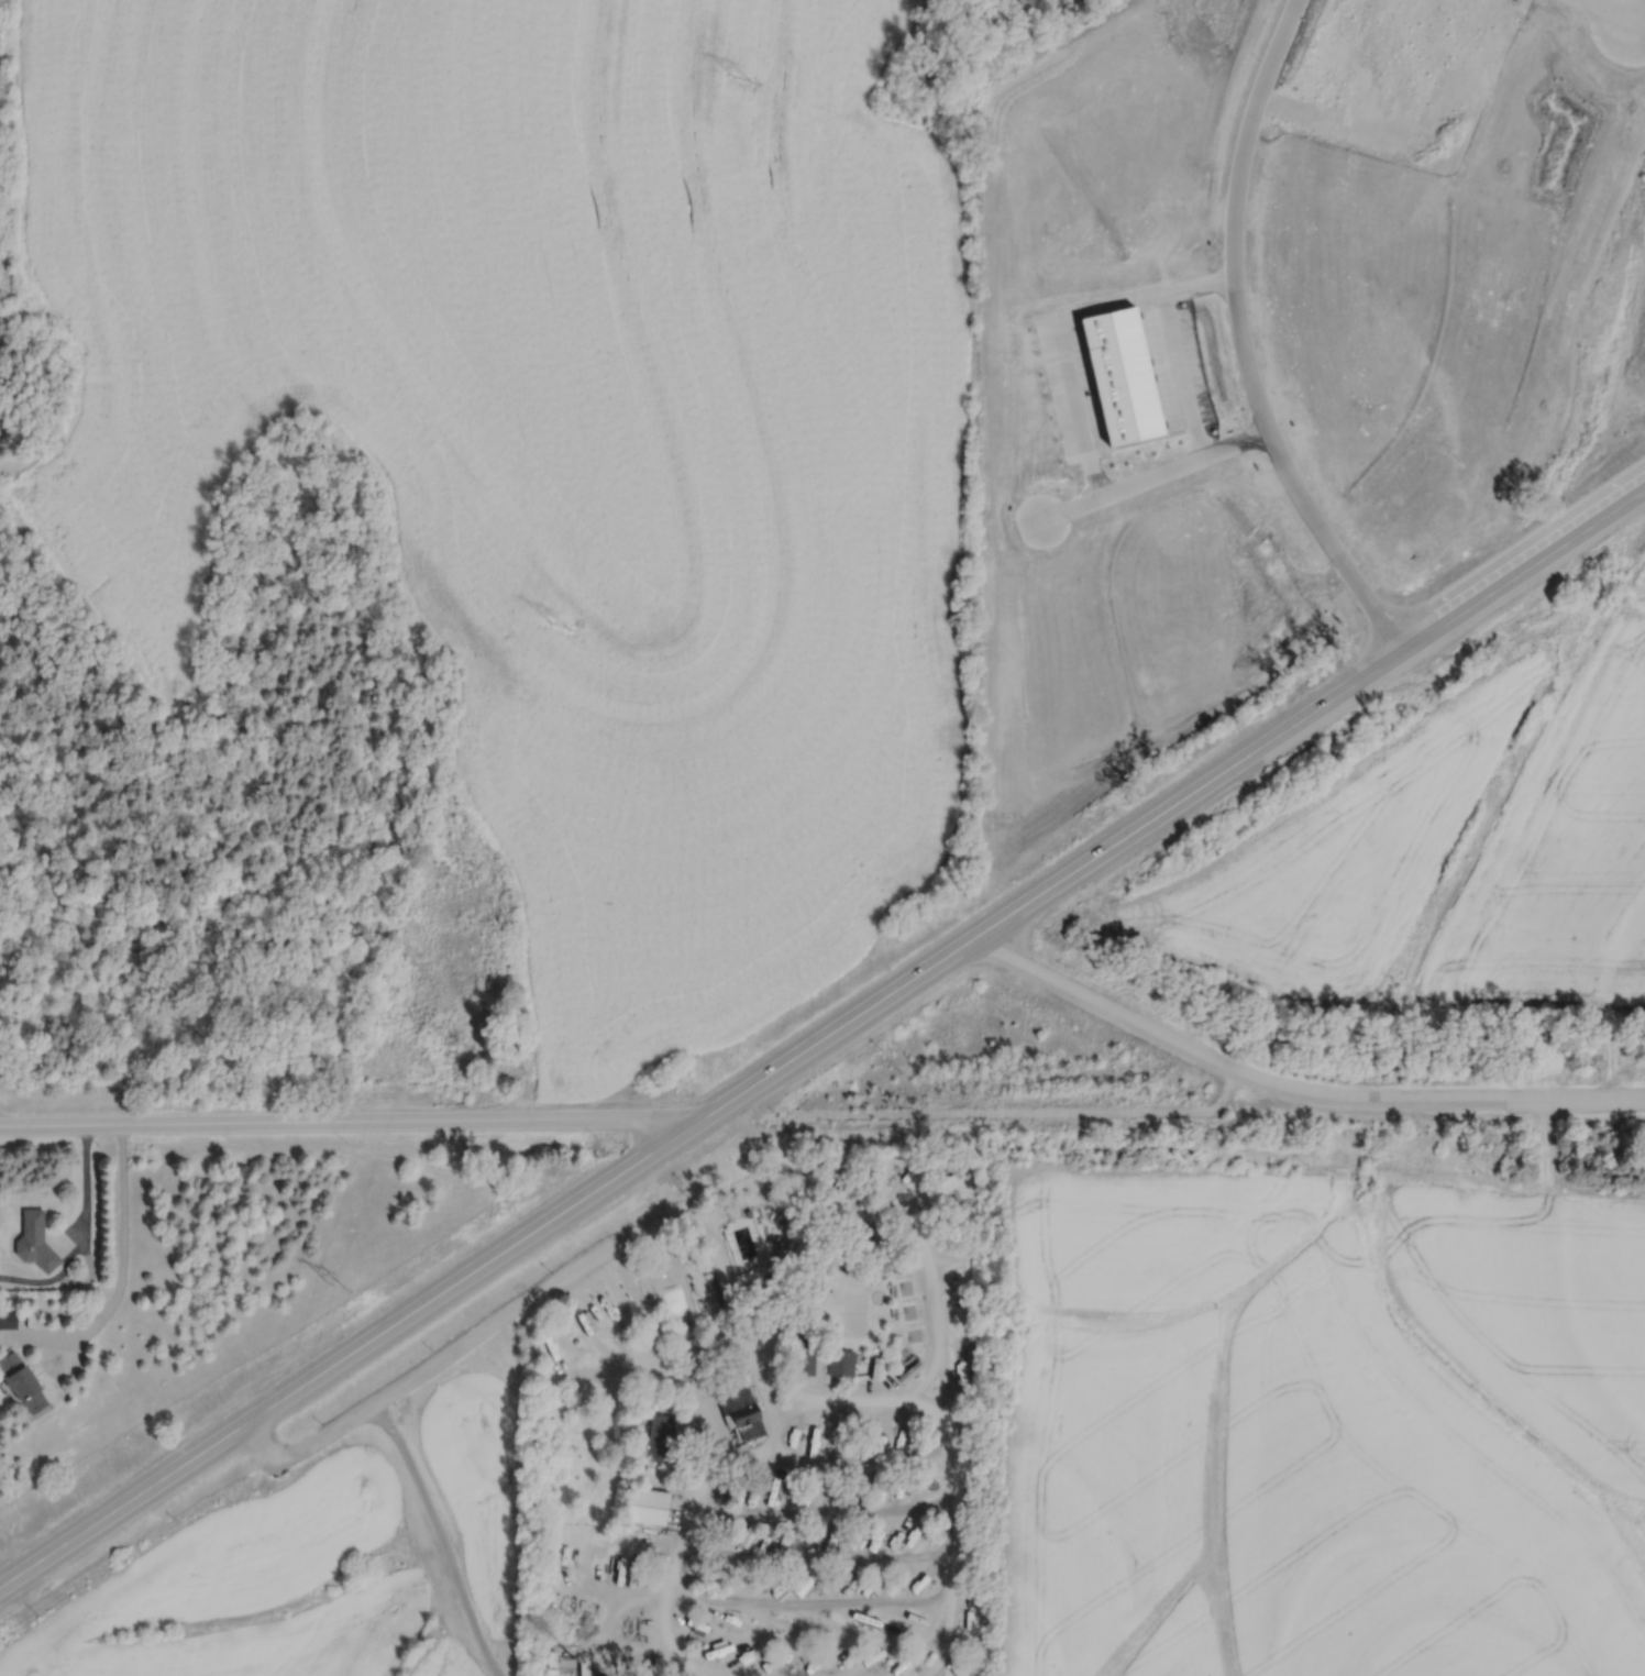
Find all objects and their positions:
road: (1615, 7)
power tower: (741, 82)
road: (1241, 340)
road: (1152, 472)
power tower: (562, 624)
road: (1105, 1005)
road: (822, 1039)
road: (1222, 1093)
road: (1437, 1098)
road: (995, 1112)
road: (3, 1129)
road: (352, 1129)
road: (87, 1205)
road: (887, 1220)
road: (125, 1245)
road: (601, 1260)
power tower: (336, 1295)
building: (8, 1317)
road: (51, 1348)
road: (630, 1352)
building: (805, 1363)
building: (841, 1363)
building: (874, 1367)
building: (21, 1383)
building: (298, 1391)
road: (948, 1394)
building: (748, 1424)
road: (957, 1435)
building: (660, 1437)
road: (307, 1454)
road: (835, 1467)
building: (647, 1506)
road: (828, 1518)
building: (747, 1533)
building: (832, 1537)
road: (686, 1541)
building: (809, 1541)
road: (440, 1542)
road: (820, 1561)
building: (847, 1586)
road: (812, 1603)
building: (829, 1621)
road: (809, 1641)

